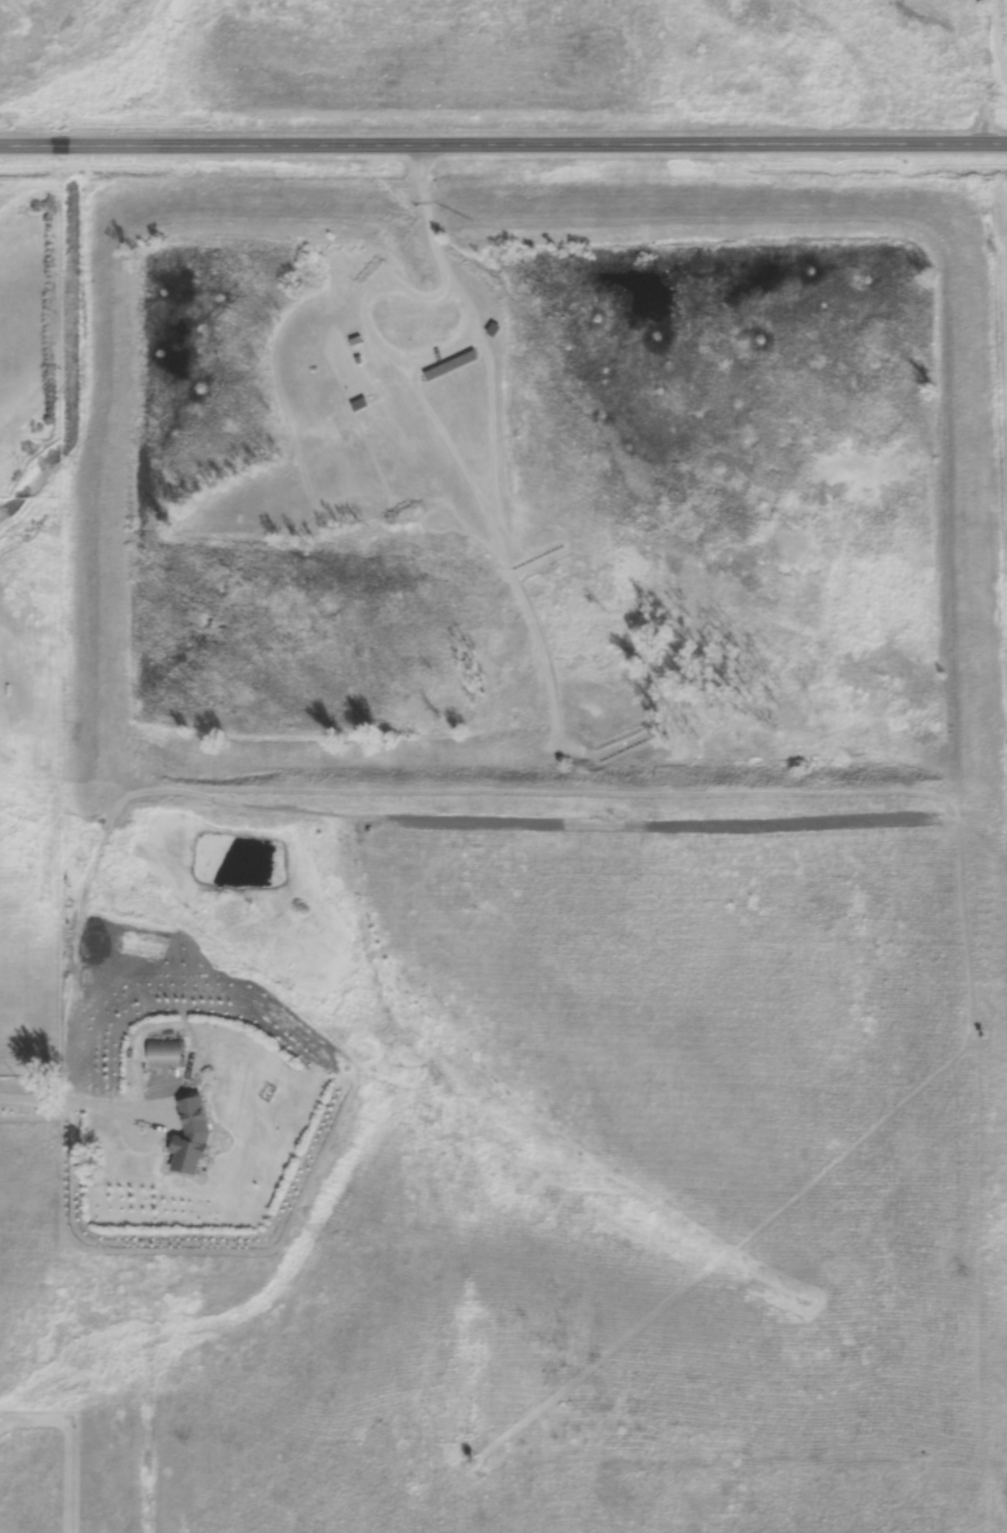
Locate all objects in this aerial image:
road: (503, 143)
road: (433, 245)
building: (167, 1053)
road: (83, 1096)
building: (195, 1124)

